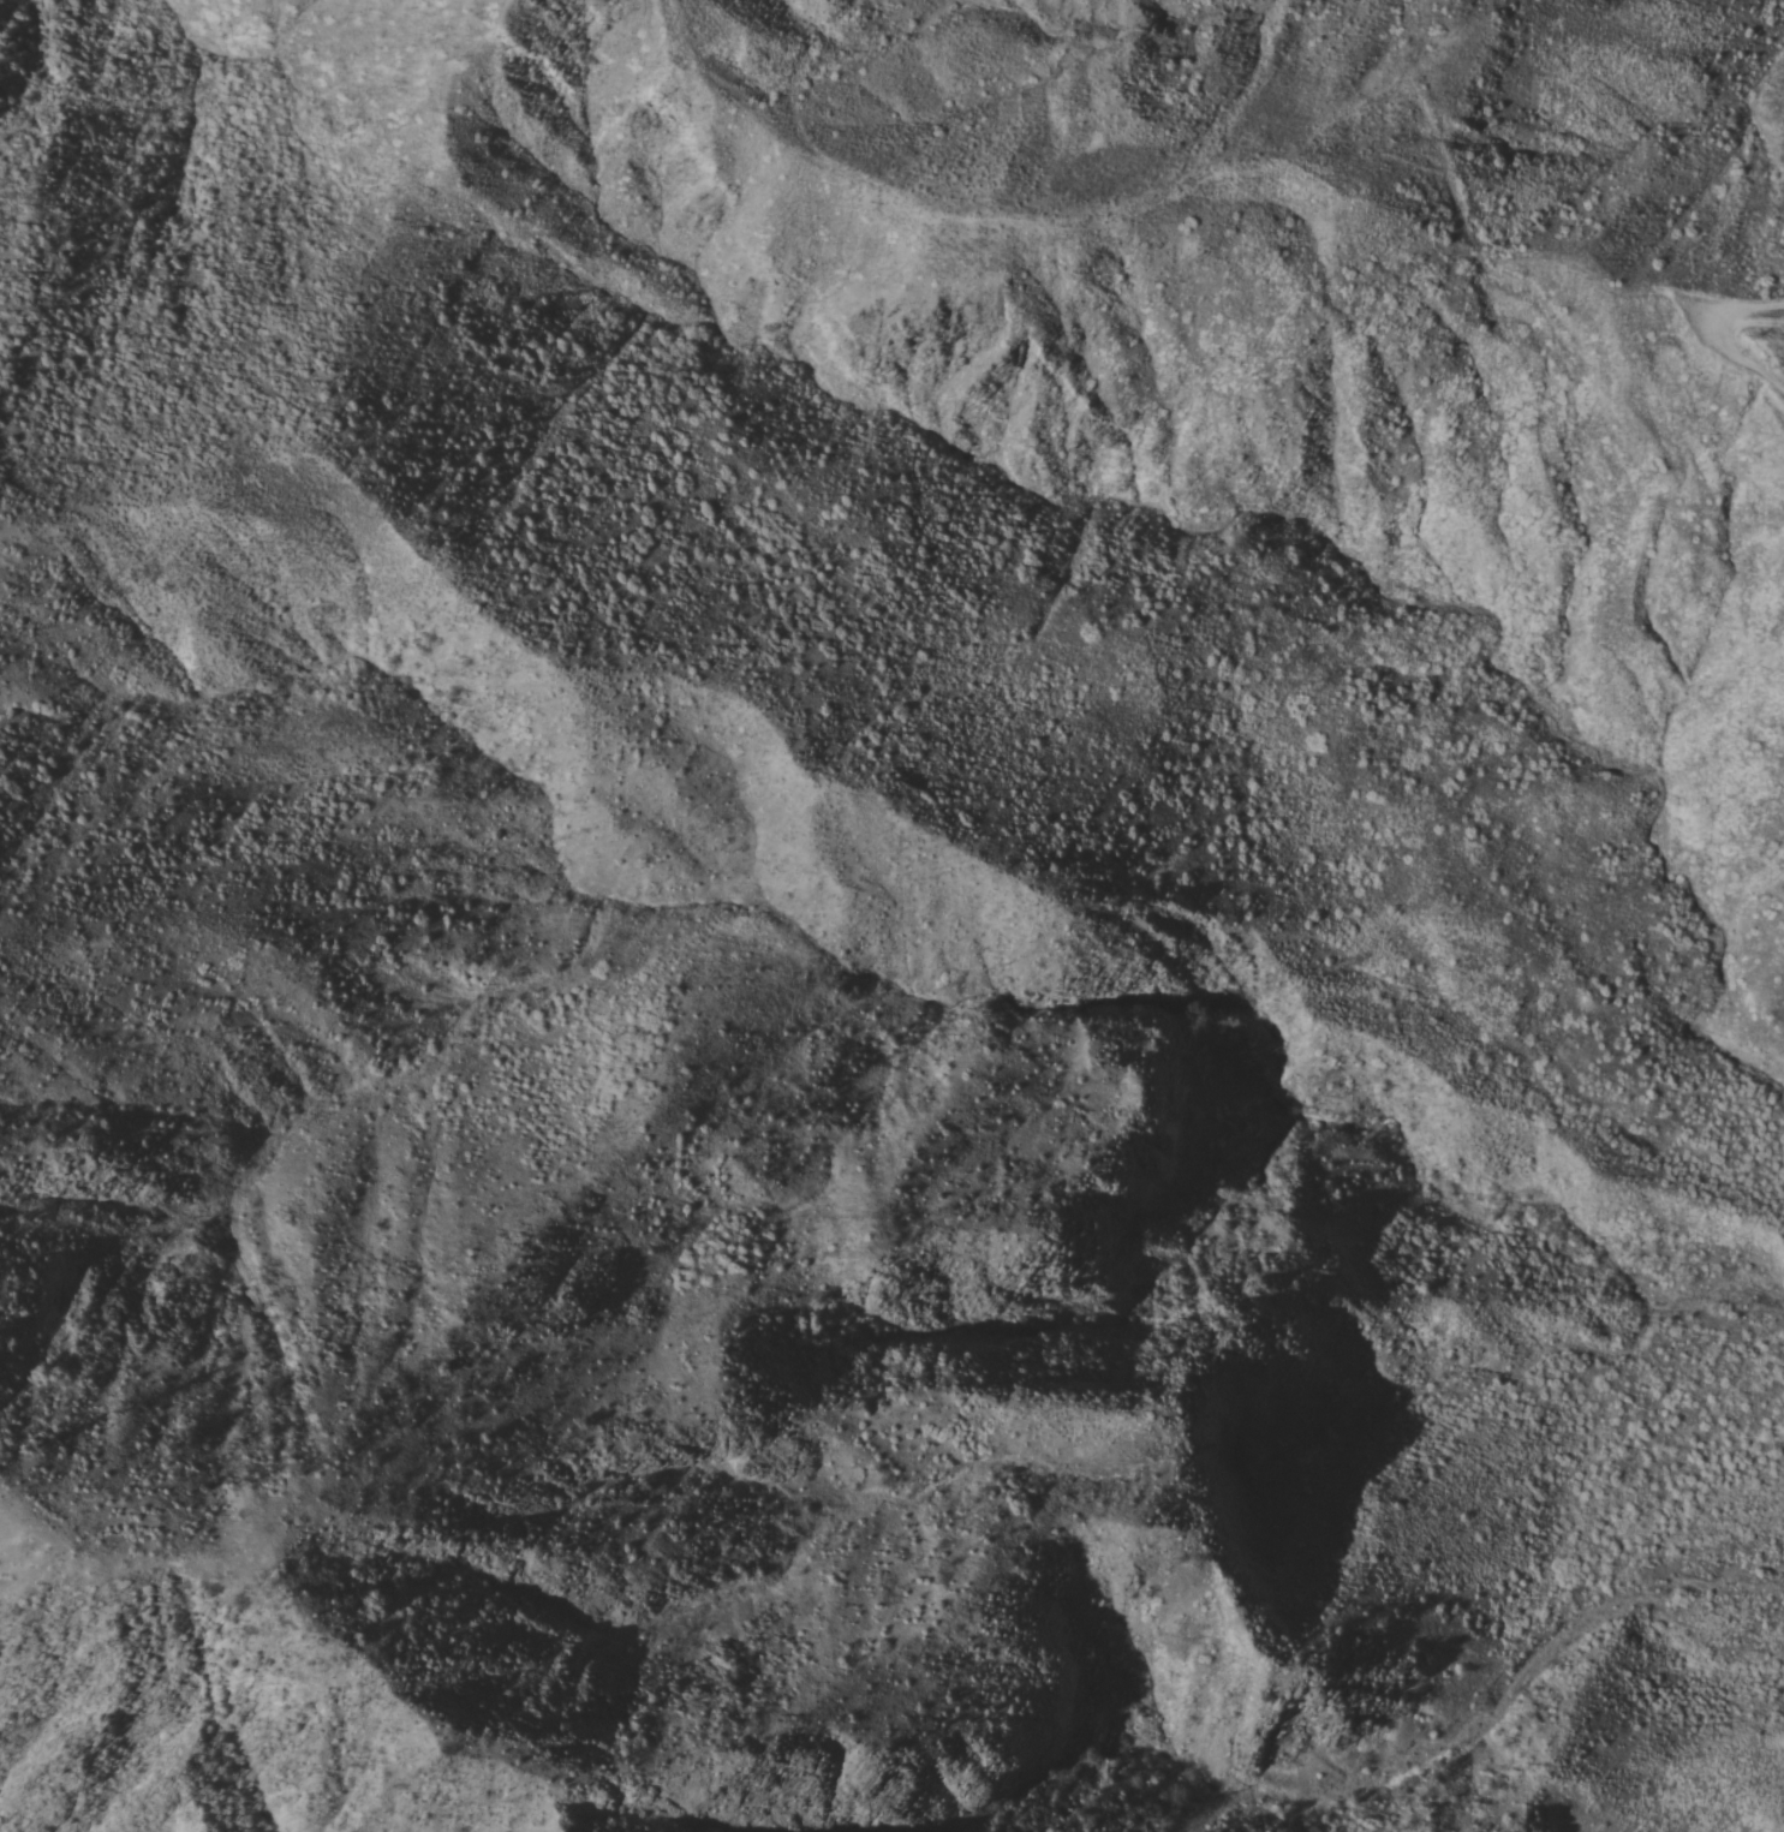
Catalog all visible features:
road: (1753, 322)
road: (1723, 336)

